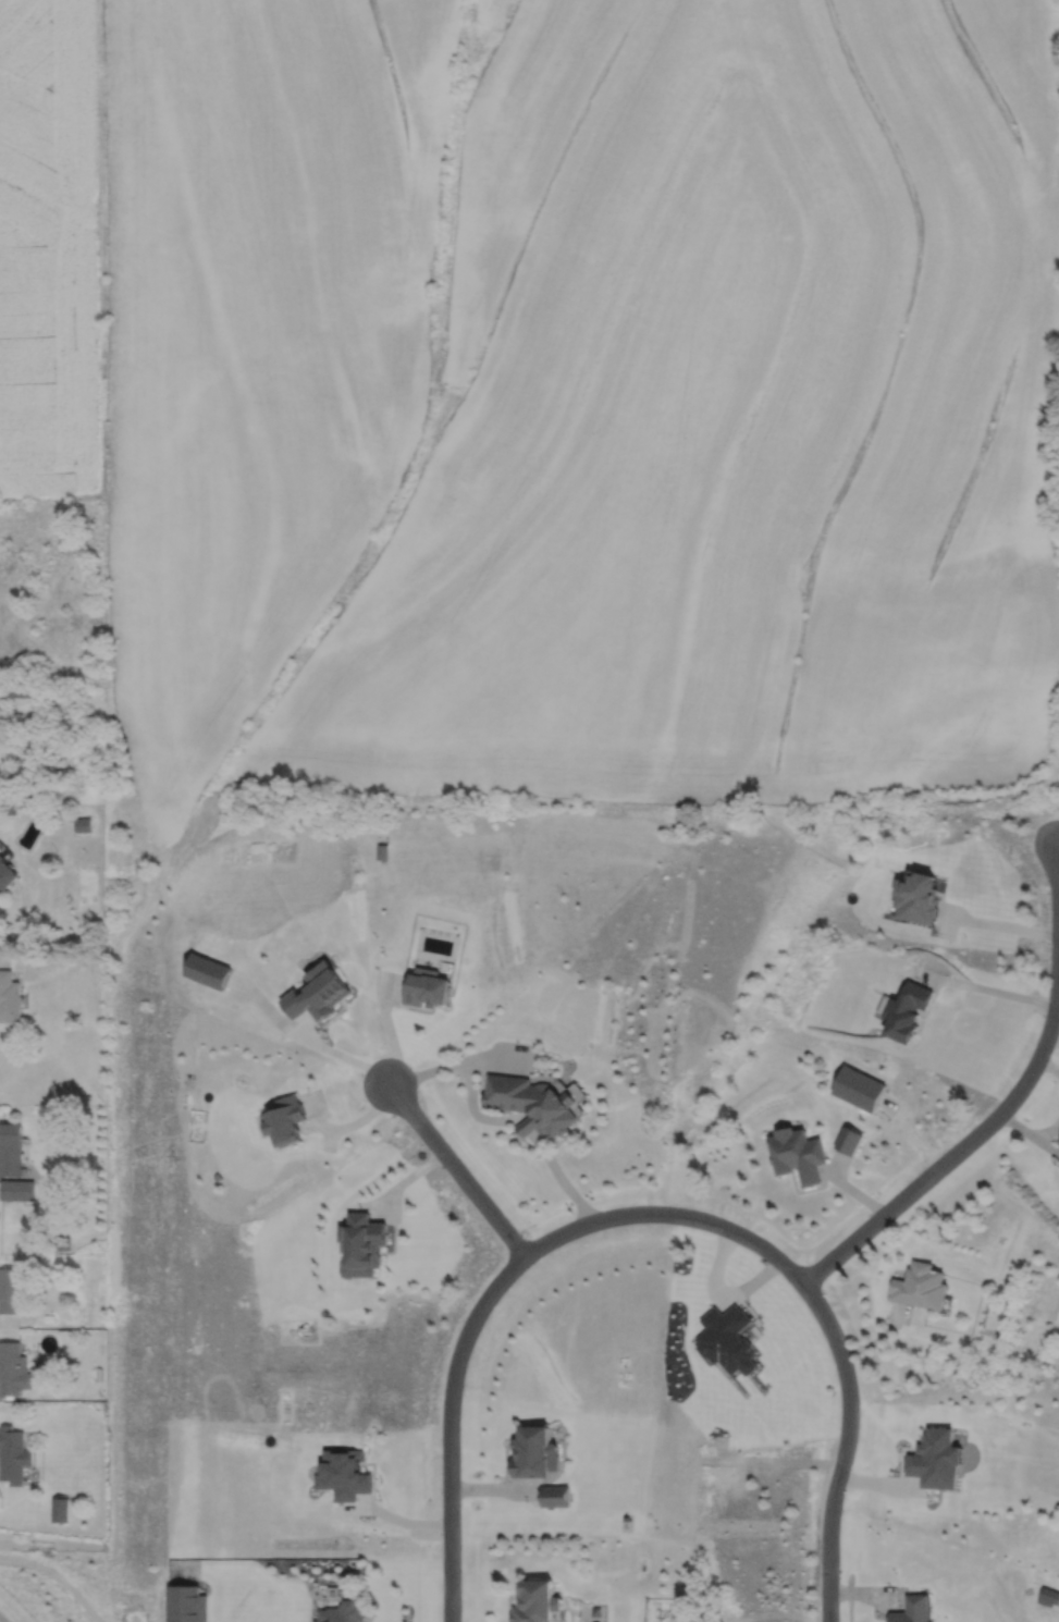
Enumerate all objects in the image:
crop: (47, 249)
crop: (574, 400)
building: (19, 689)
building: (82, 825)
building: (5, 876)
road: (997, 923)
building: (429, 991)
road: (994, 991)
building: (9, 998)
building: (910, 1013)
road: (318, 1044)
road: (1008, 1099)
building: (532, 1105)
road: (498, 1118)
road: (348, 1123)
building: (1058, 1143)
building: (10, 1150)
building: (798, 1156)
road: (456, 1168)
building: (16, 1190)
road: (653, 1217)
building: (922, 1288)
building: (10, 1291)
building: (15, 1371)
building: (12, 1455)
road: (56, 1578)
building: (535, 1600)
building: (915, 1609)

